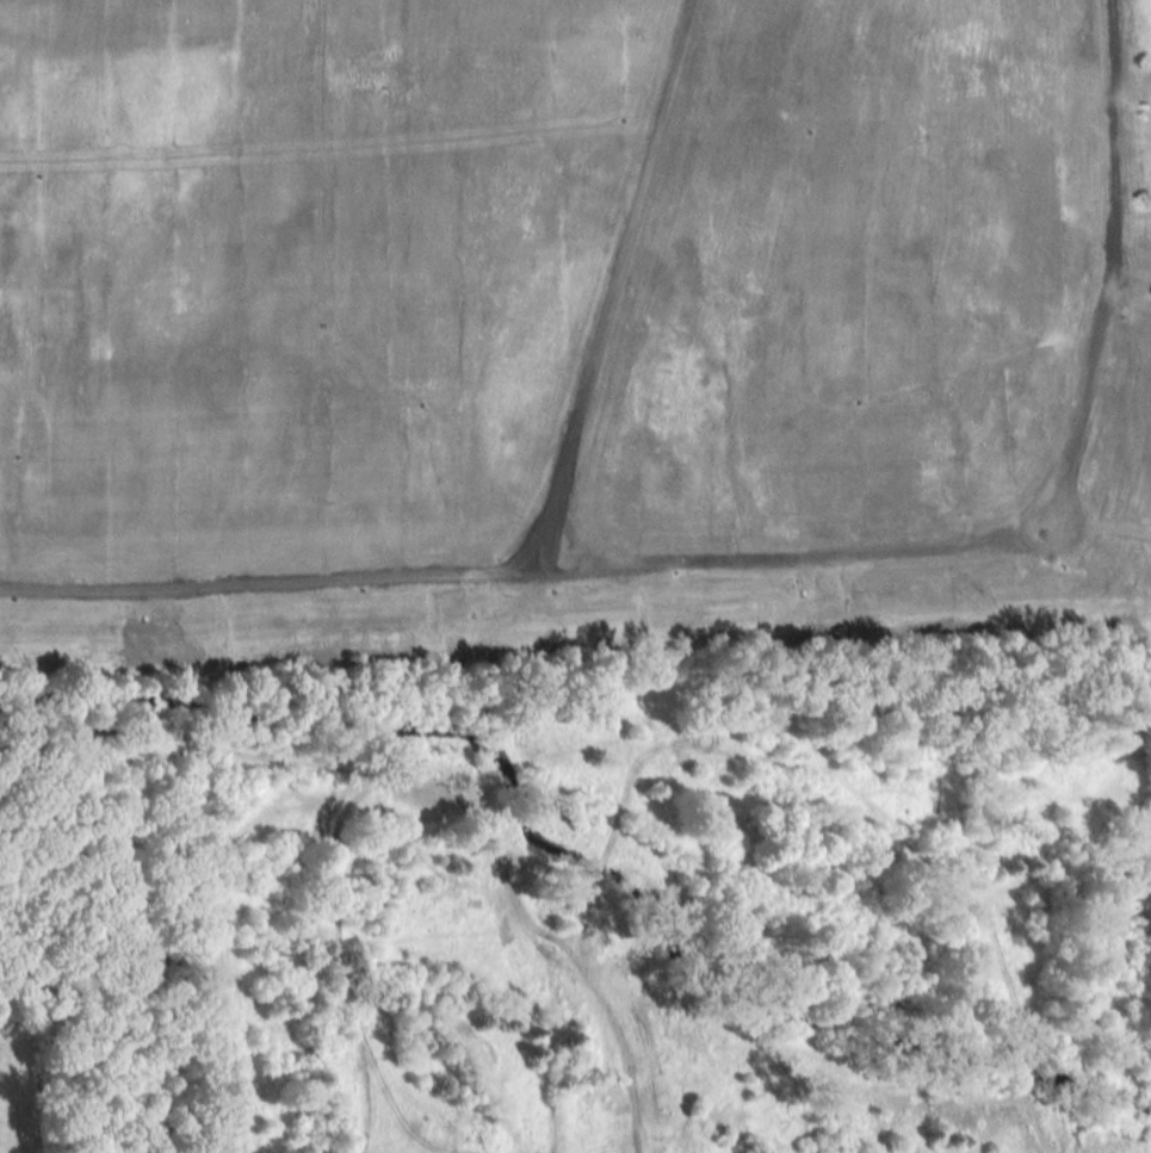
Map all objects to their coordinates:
road: (1039, 513)
road: (534, 535)

